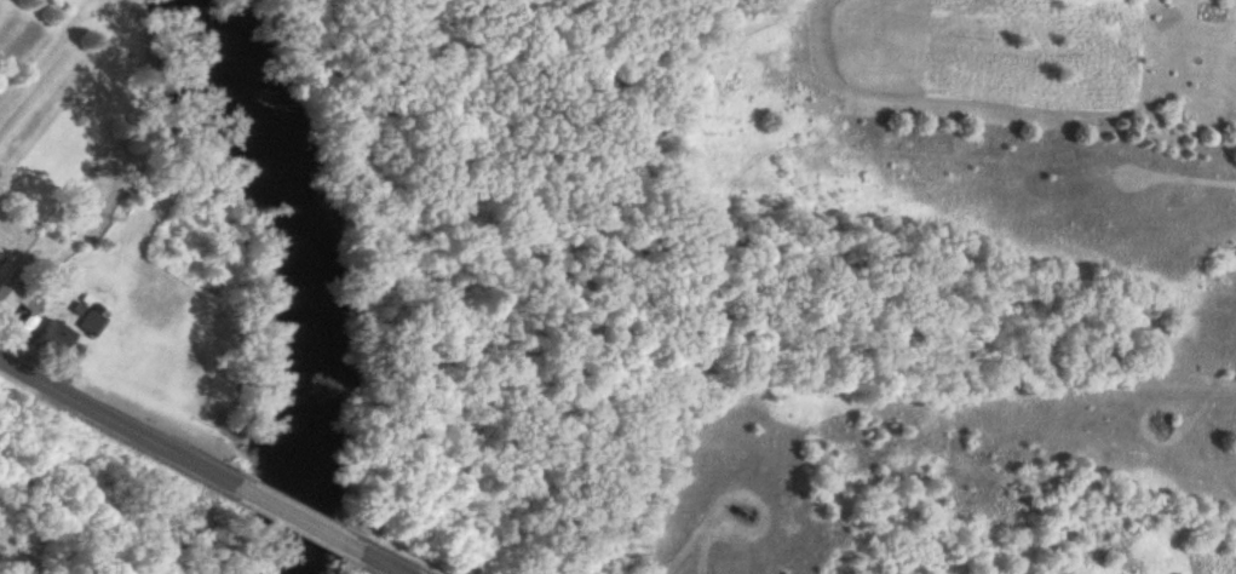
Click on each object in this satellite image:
building: (1, 260)
river: (305, 280)
building: (17, 294)
building: (51, 337)
road: (116, 421)
road: (299, 518)
road: (384, 563)

